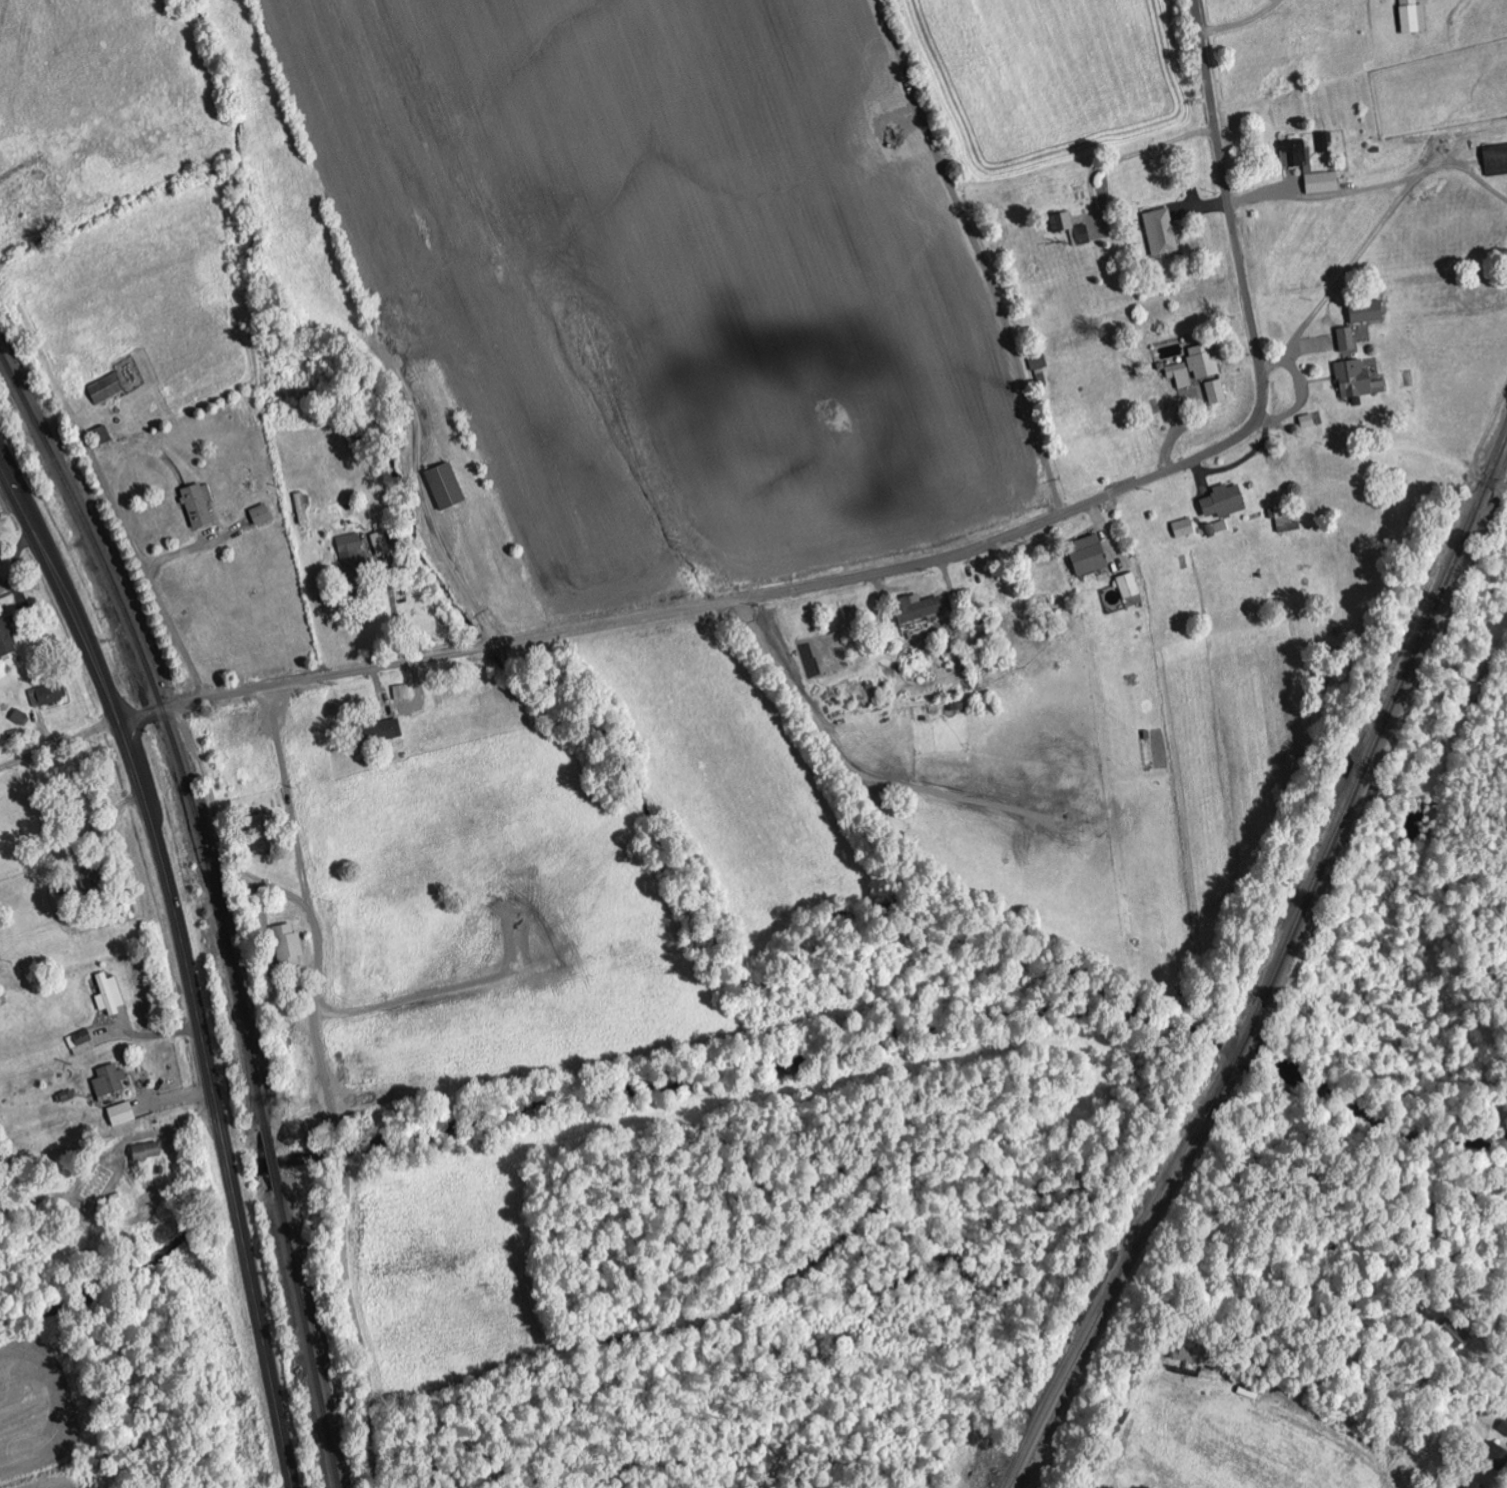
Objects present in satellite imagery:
building: (1414, 17)
building: (1325, 142)
building: (1294, 155)
building: (1496, 160)
building: (1309, 161)
building: (1323, 182)
building: (1072, 228)
building: (1163, 231)
building: (1369, 312)
building: (1347, 339)
building: (1205, 361)
building: (1181, 375)
building: (1358, 380)
building: (107, 388)
building: (1217, 391)
building: (446, 486)
building: (1225, 502)
building: (199, 505)
building: (302, 508)
building: (261, 515)
building: (1284, 518)
building: (1184, 528)
building: (381, 544)
building: (352, 552)
building: (1088, 555)
road: (911, 568)
building: (1130, 589)
building: (0, 597)
building: (917, 608)
building: (7, 638)
building: (402, 692)
building: (49, 694)
building: (20, 717)
railway: (168, 730)
building: (377, 732)
road: (58, 745)
building: (263, 833)
building: (288, 947)
road: (185, 962)
railway: (1275, 973)
building: (110, 995)
building: (82, 1043)
building: (109, 1082)
building: (122, 1114)
building: (147, 1152)
railway: (275, 1165)
building: (98, 1185)
railway: (312, 1345)
building: (1197, 1356)
building: (1496, 1456)
building: (1476, 1485)

